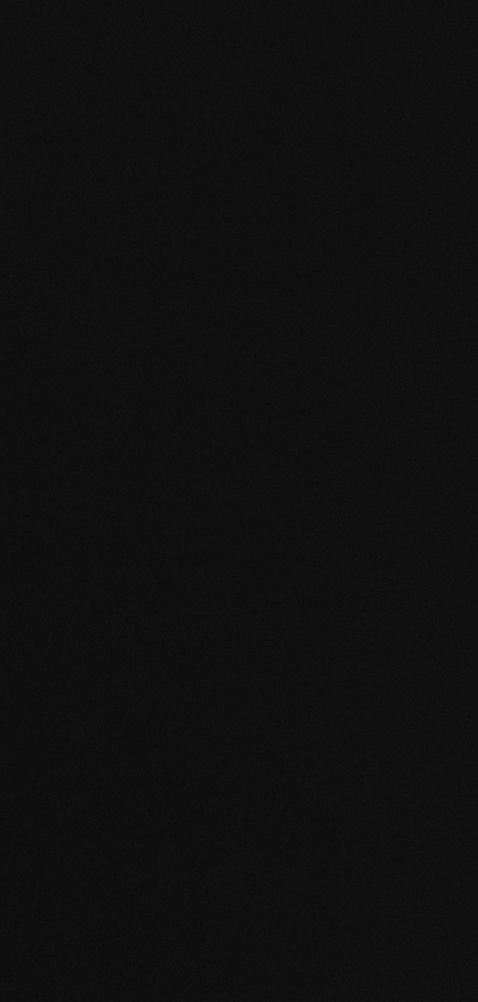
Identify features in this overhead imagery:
river: (300, 503)

